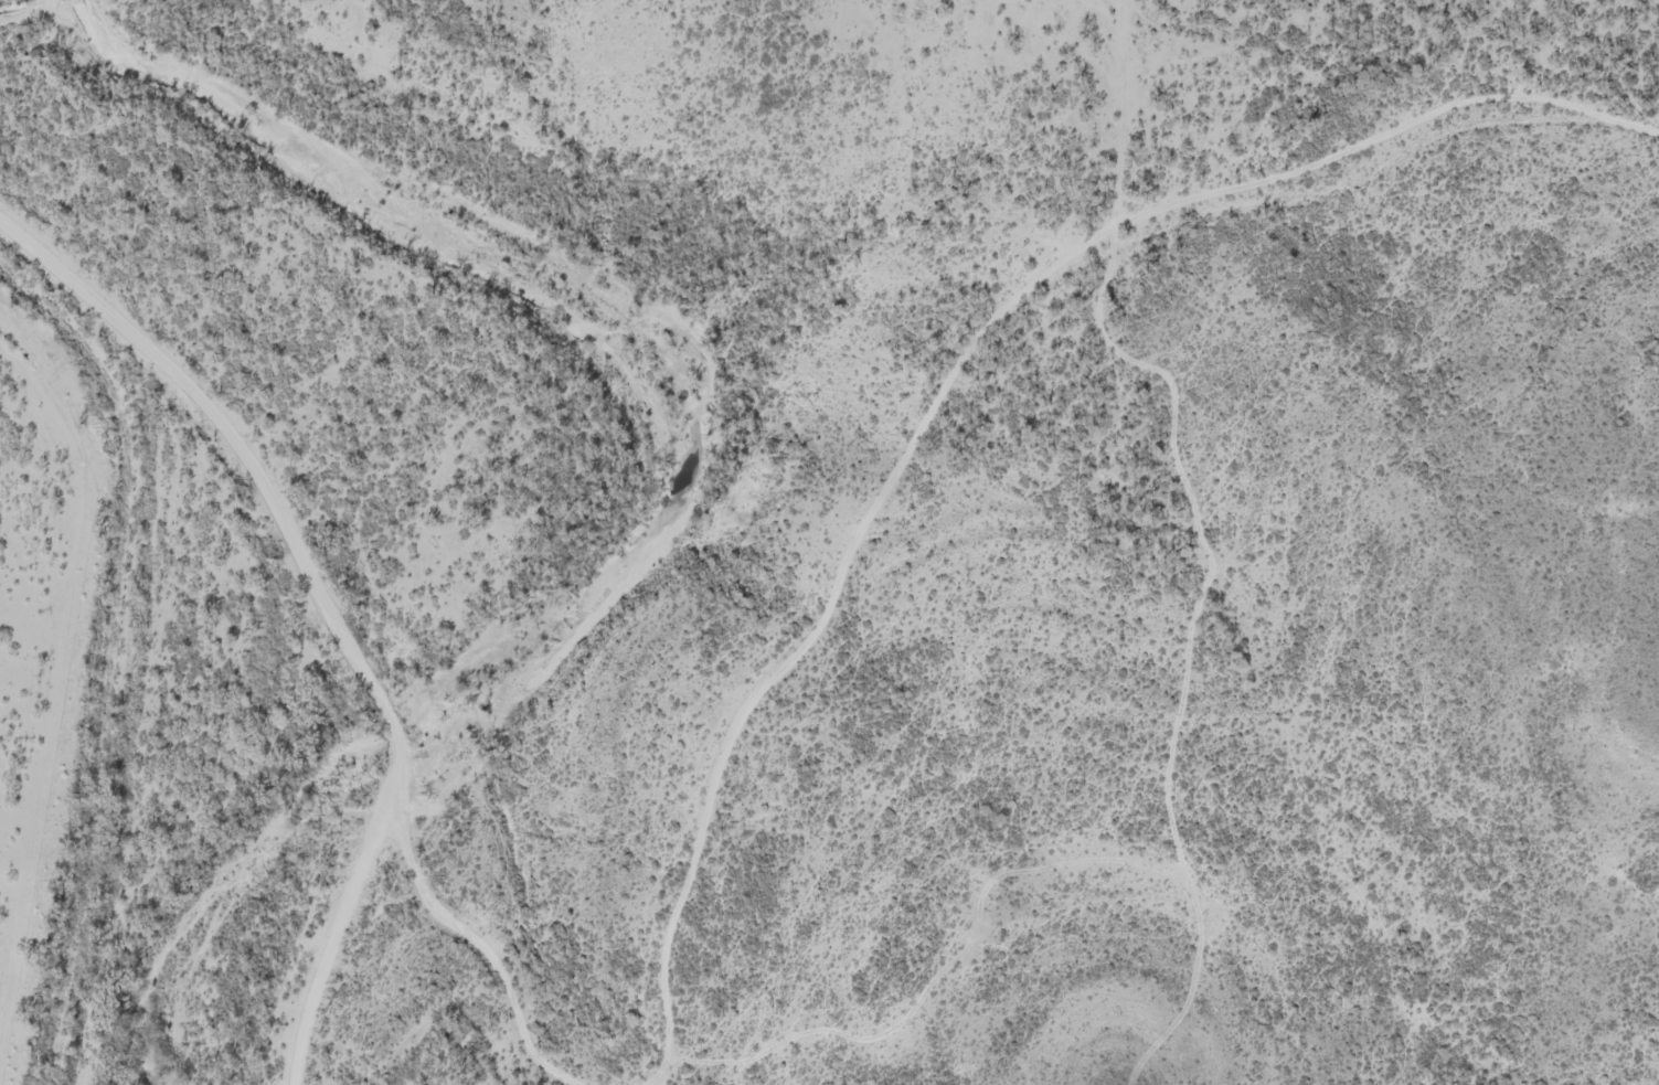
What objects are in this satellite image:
road: (1376, 169)
road: (875, 522)
road: (333, 600)
road: (492, 950)

